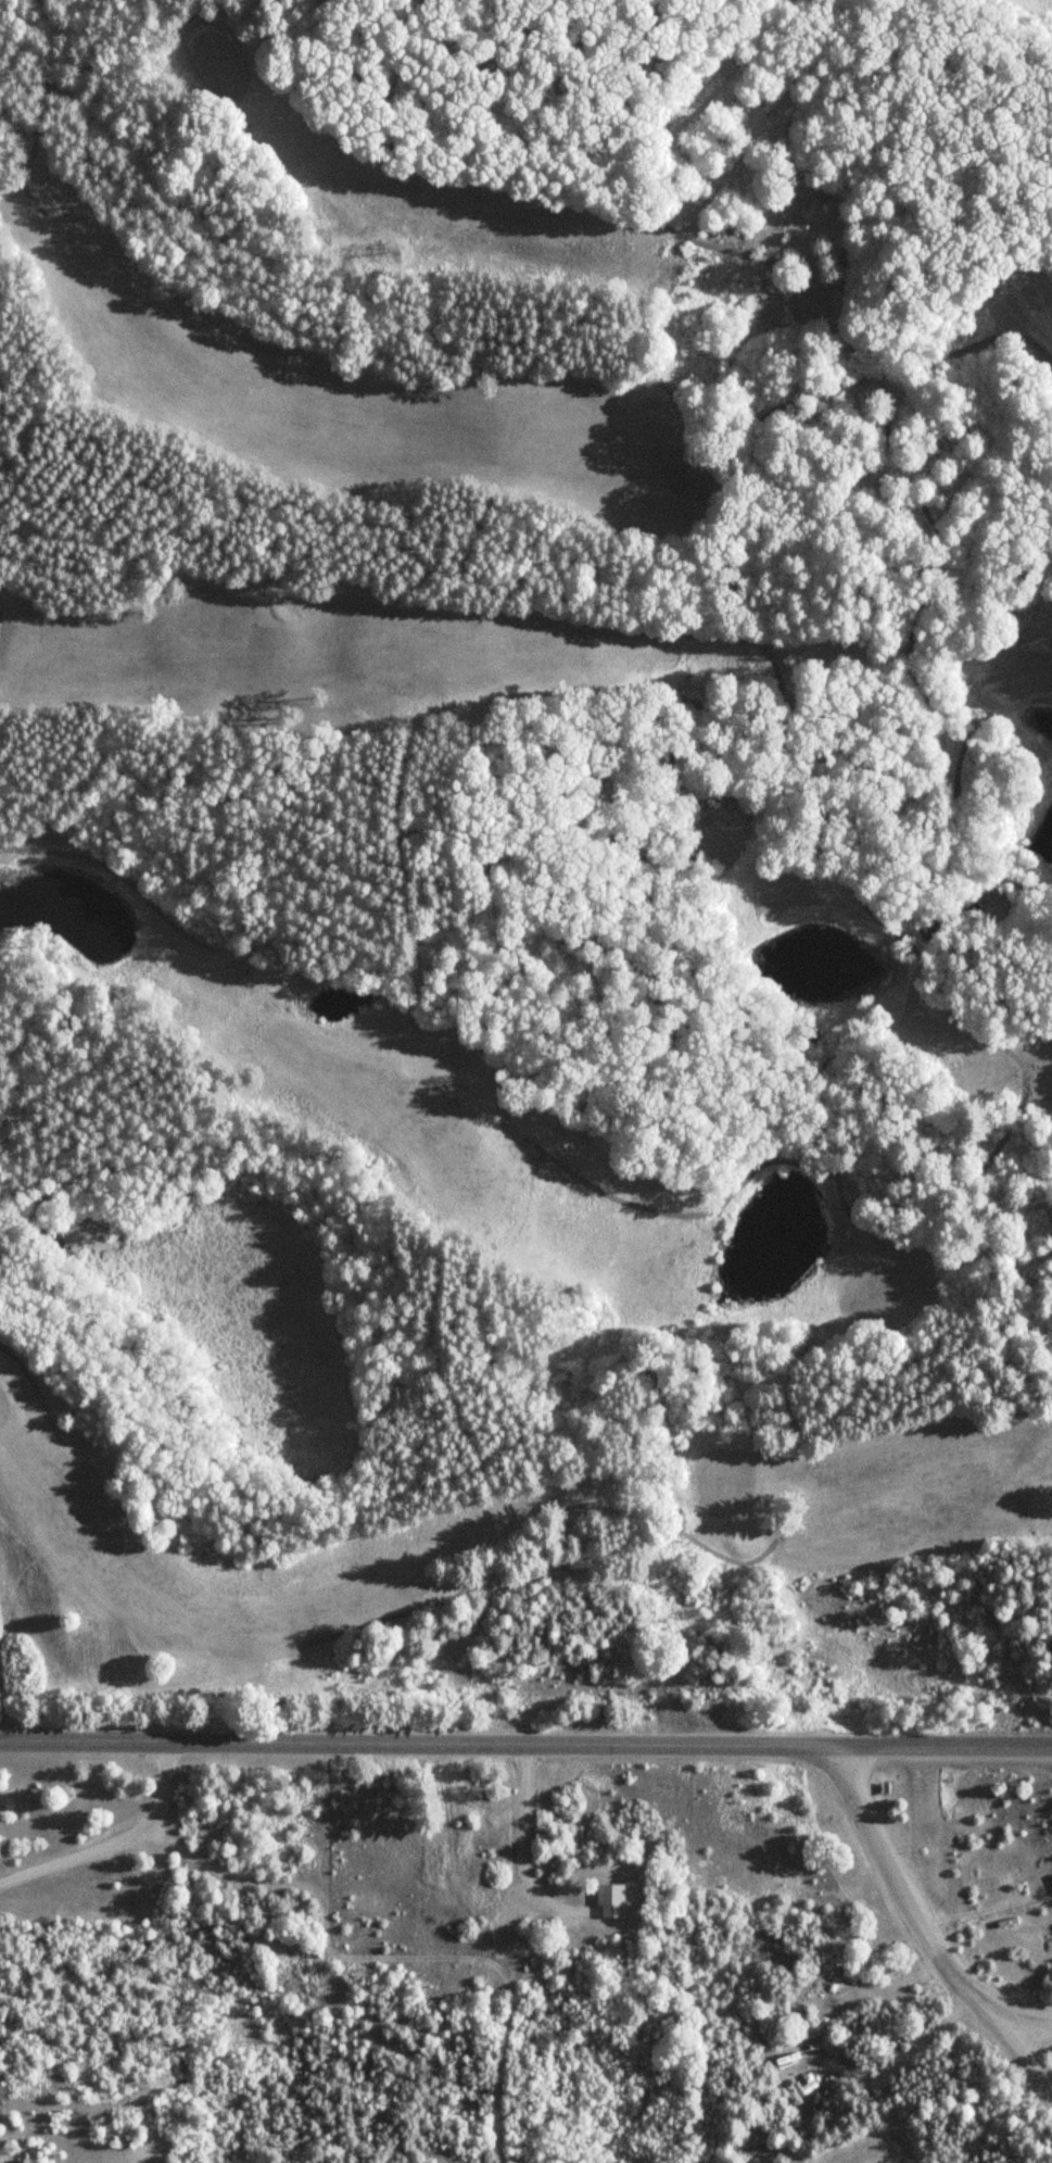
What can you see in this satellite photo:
park: (525, 853)
building: (812, 1033)
road: (525, 1740)
road: (905, 1892)
road: (1026, 2022)
road: (1023, 2059)

